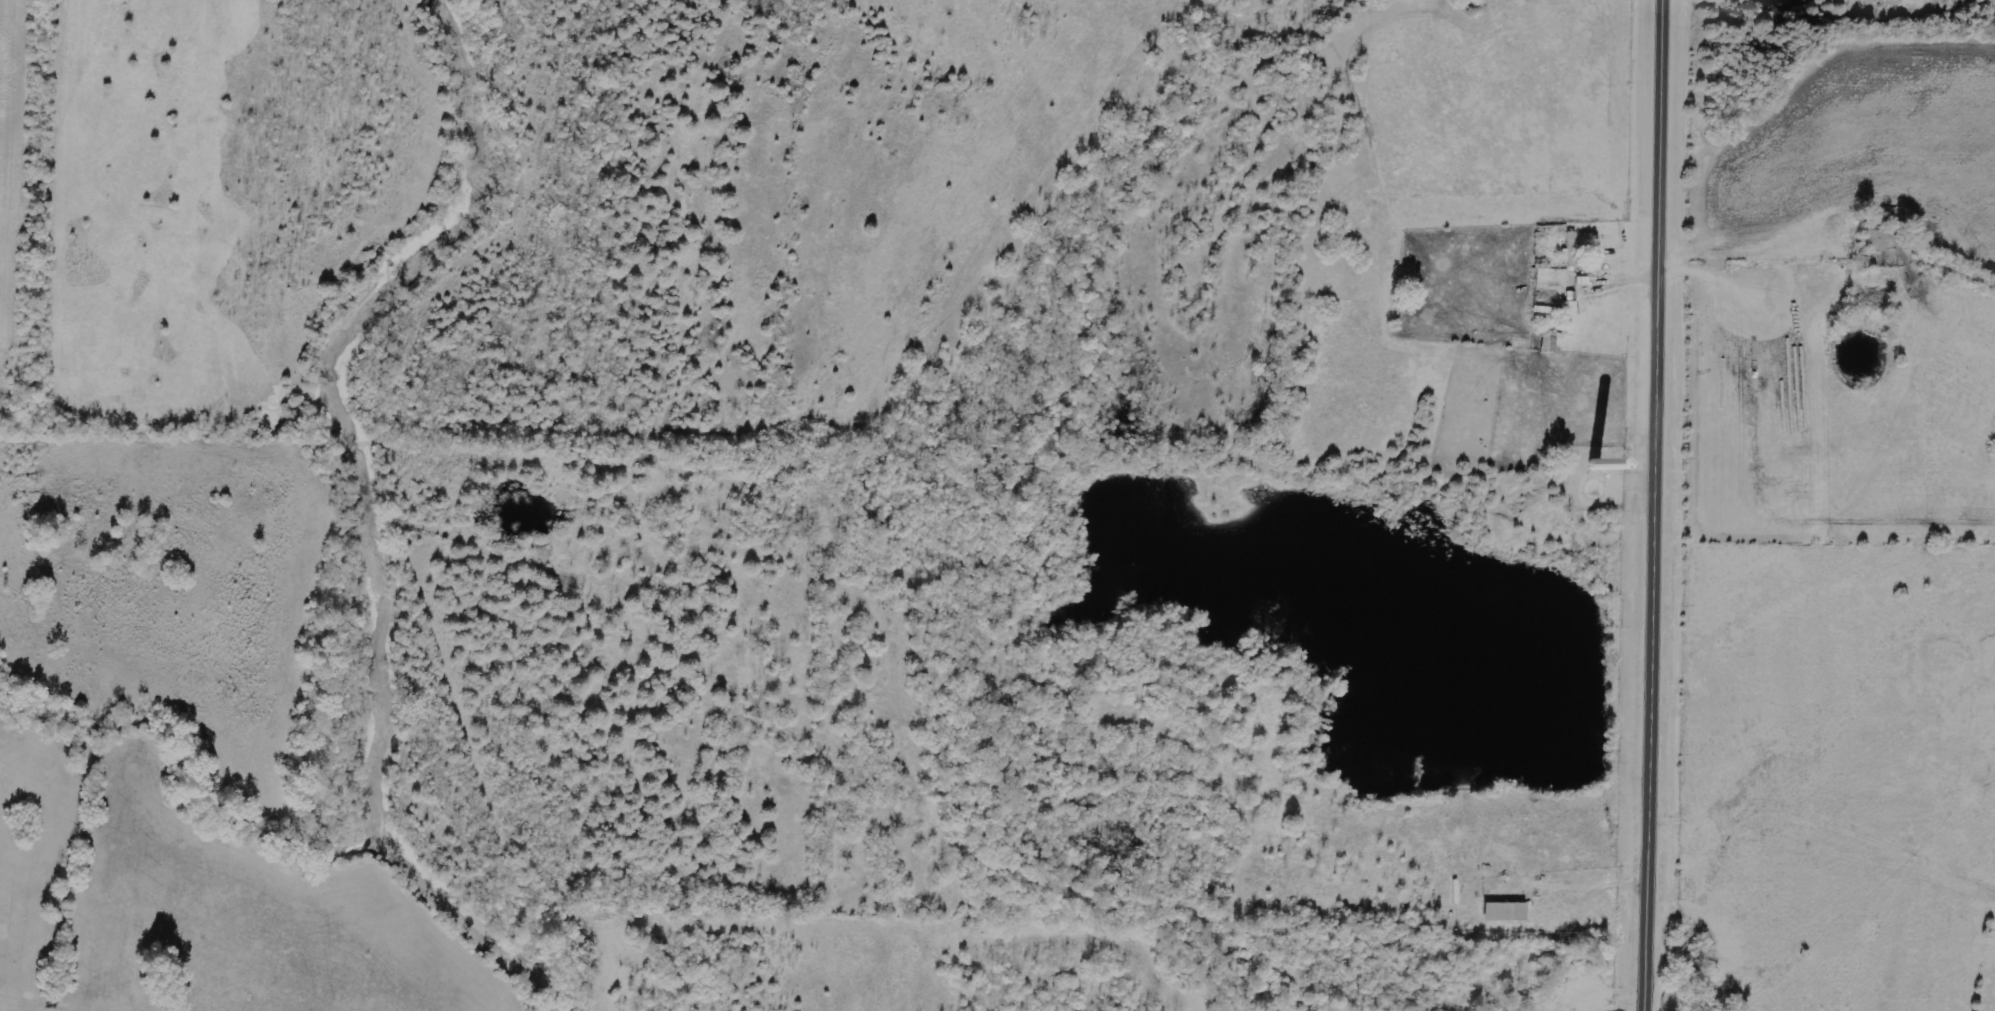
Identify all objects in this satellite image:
building: (1873, 241)
building: (1569, 251)
road: (1616, 278)
building: (1569, 315)
road: (1661, 505)
building: (1502, 913)

